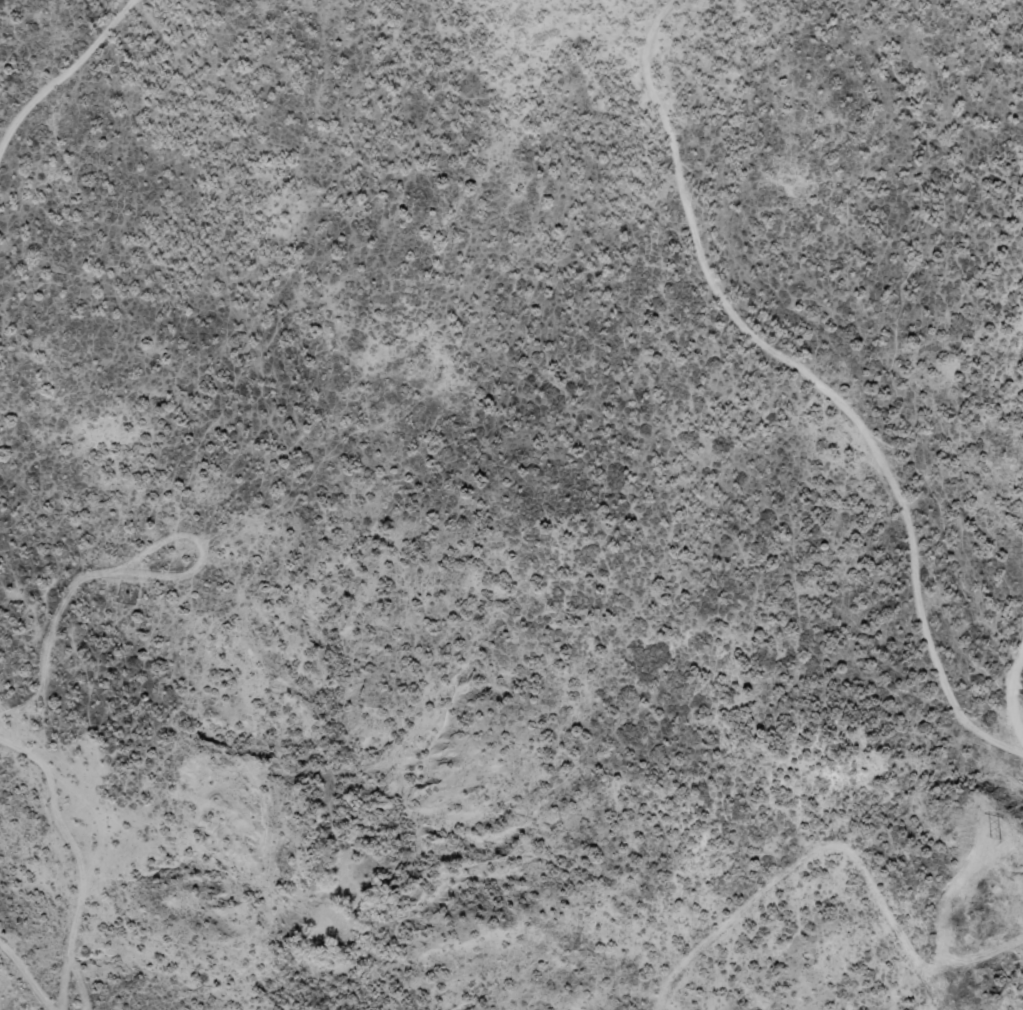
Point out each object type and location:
road: (40, 73)
power tower: (997, 836)

